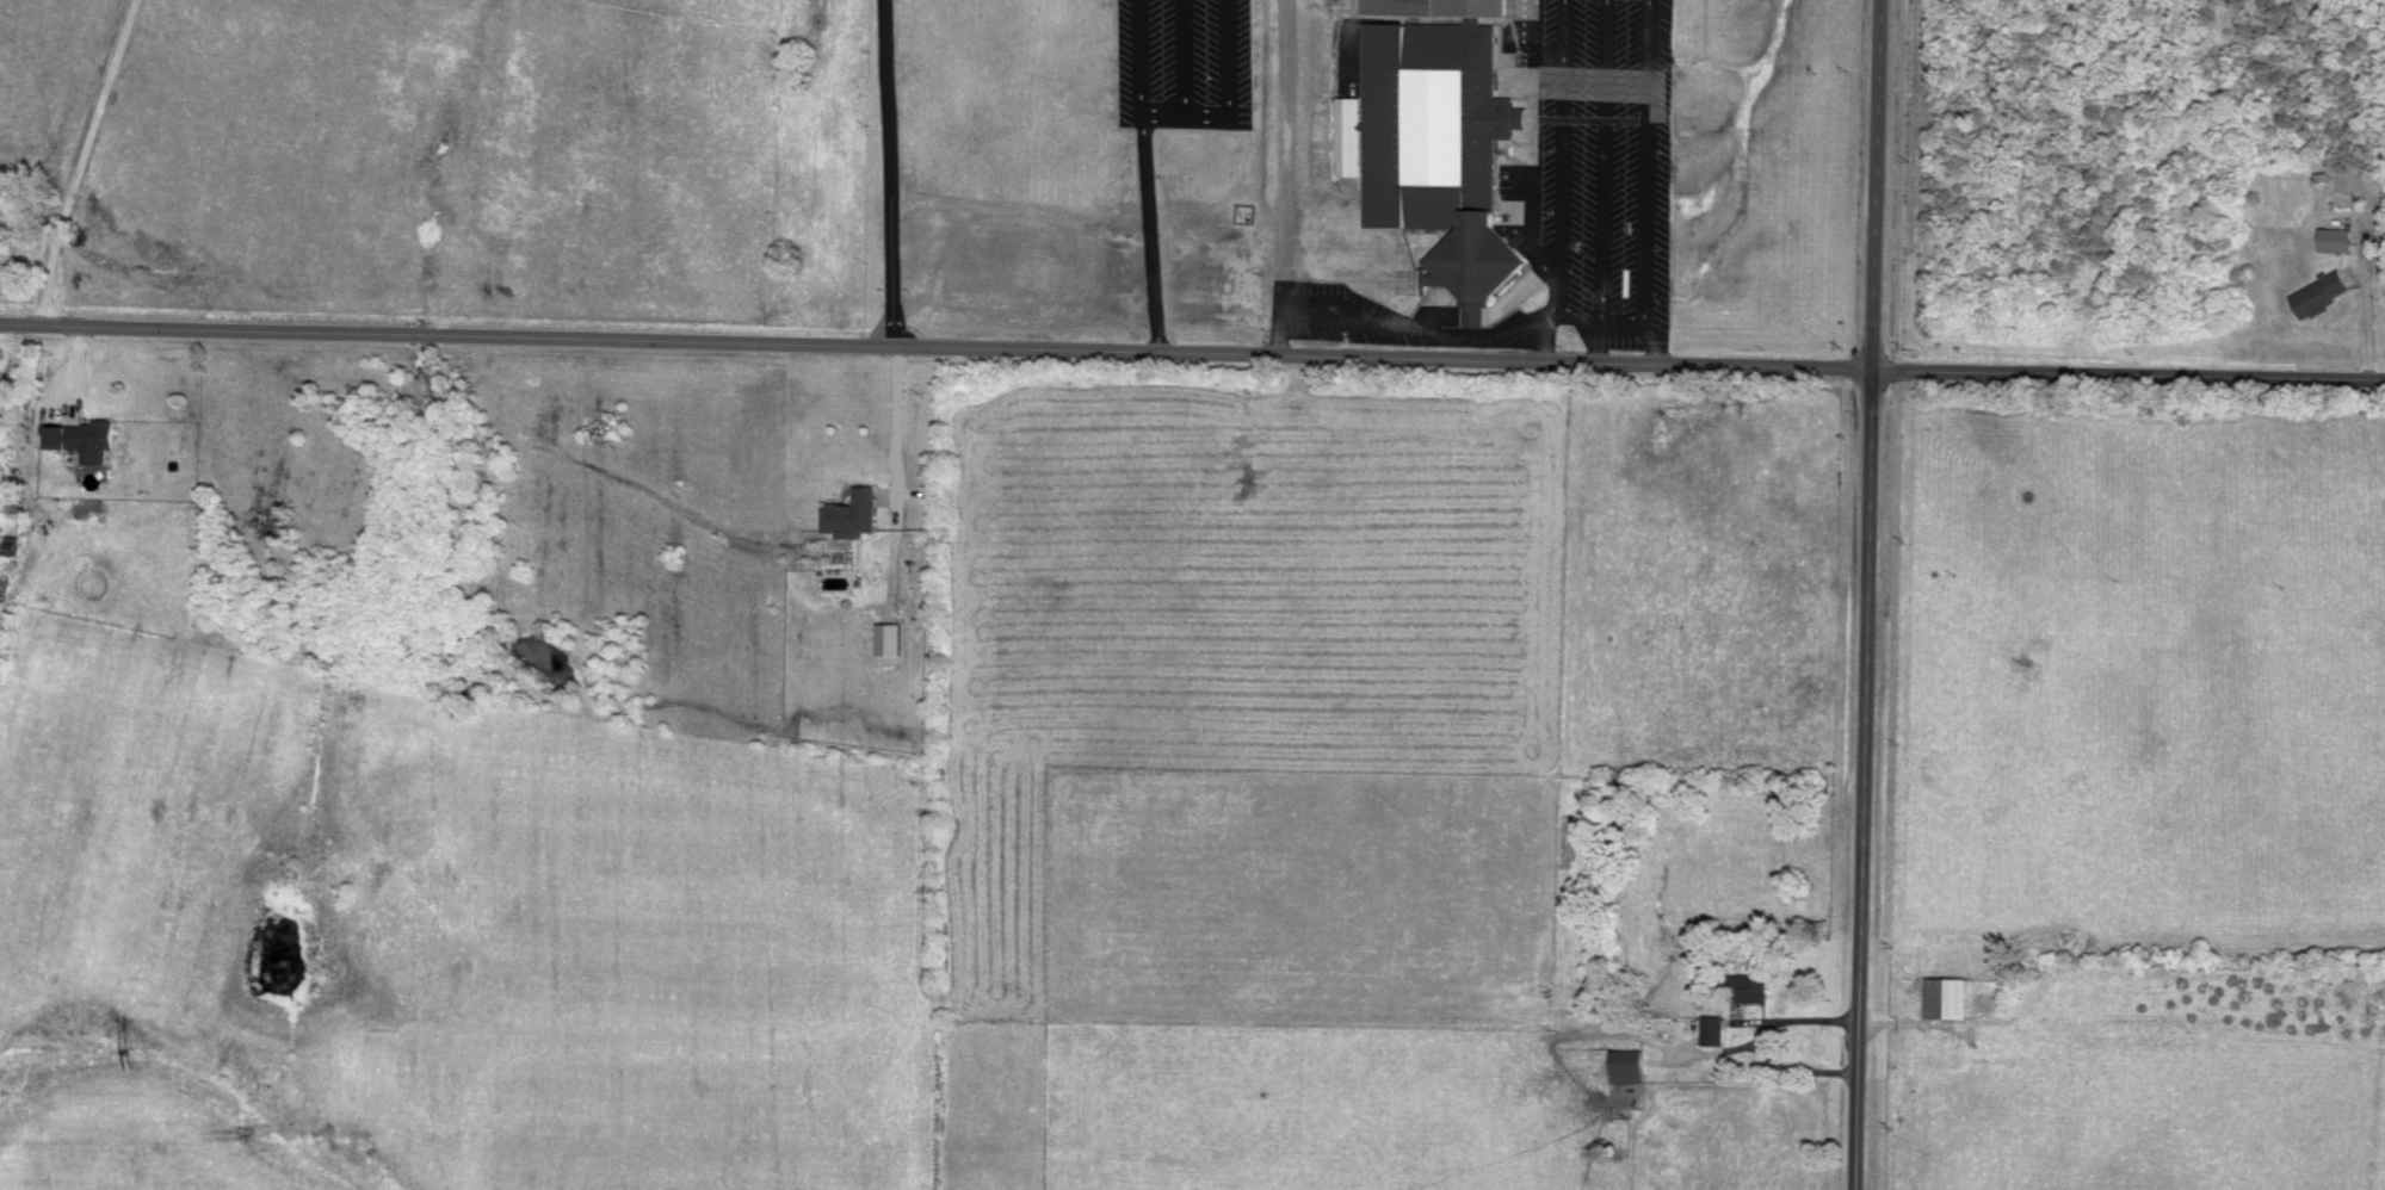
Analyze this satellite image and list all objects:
building: (1435, 140)
road: (88, 161)
road: (1605, 163)
road: (1561, 171)
road: (894, 172)
road: (1149, 175)
road: (1873, 185)
railway: (67, 205)
building: (2340, 238)
building: (2323, 291)
road: (1580, 314)
road: (1614, 323)
road: (1403, 324)
road: (1192, 352)
road: (1657, 352)
road: (897, 429)
building: (86, 438)
building: (854, 512)
building: (891, 637)
road: (1860, 780)
building: (1750, 985)
building: (1948, 996)
building: (1714, 1028)
building: (1630, 1065)

